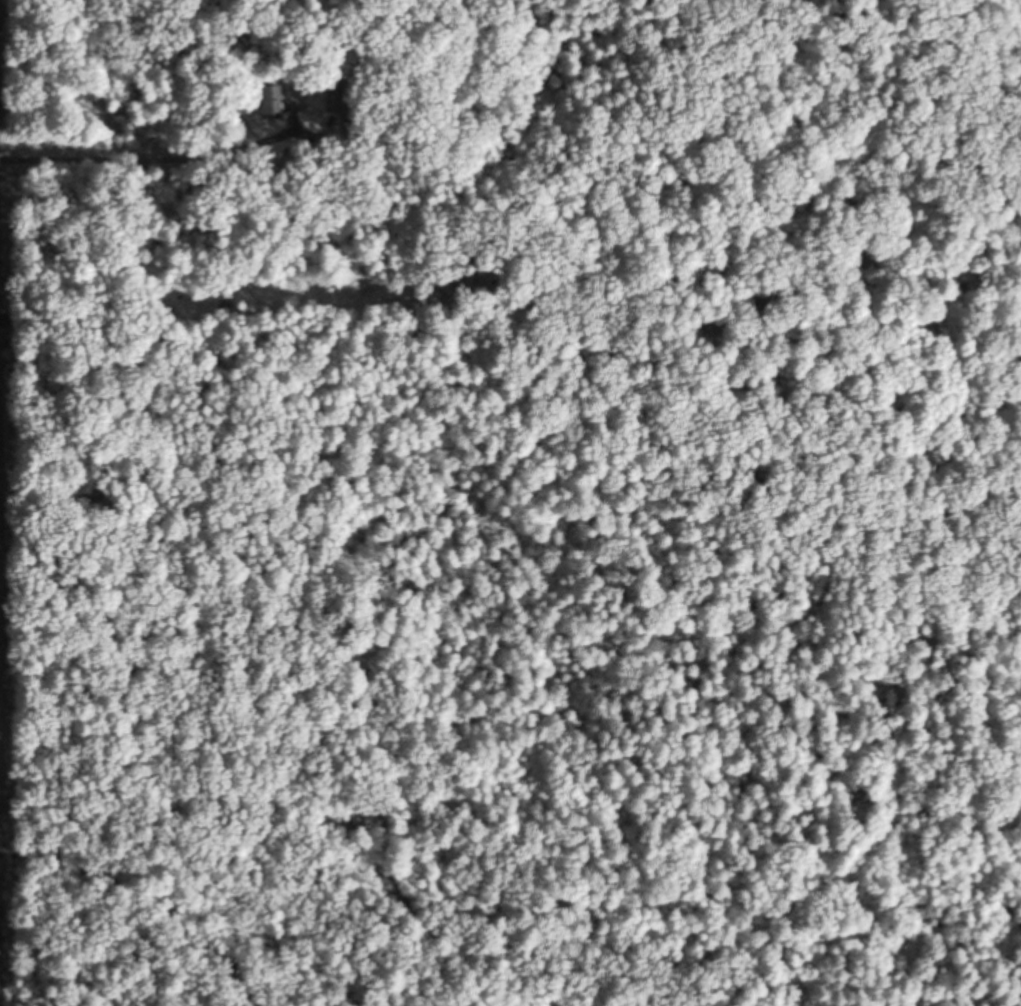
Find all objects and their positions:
building: (330, 94)
road: (235, 98)
building: (262, 102)

